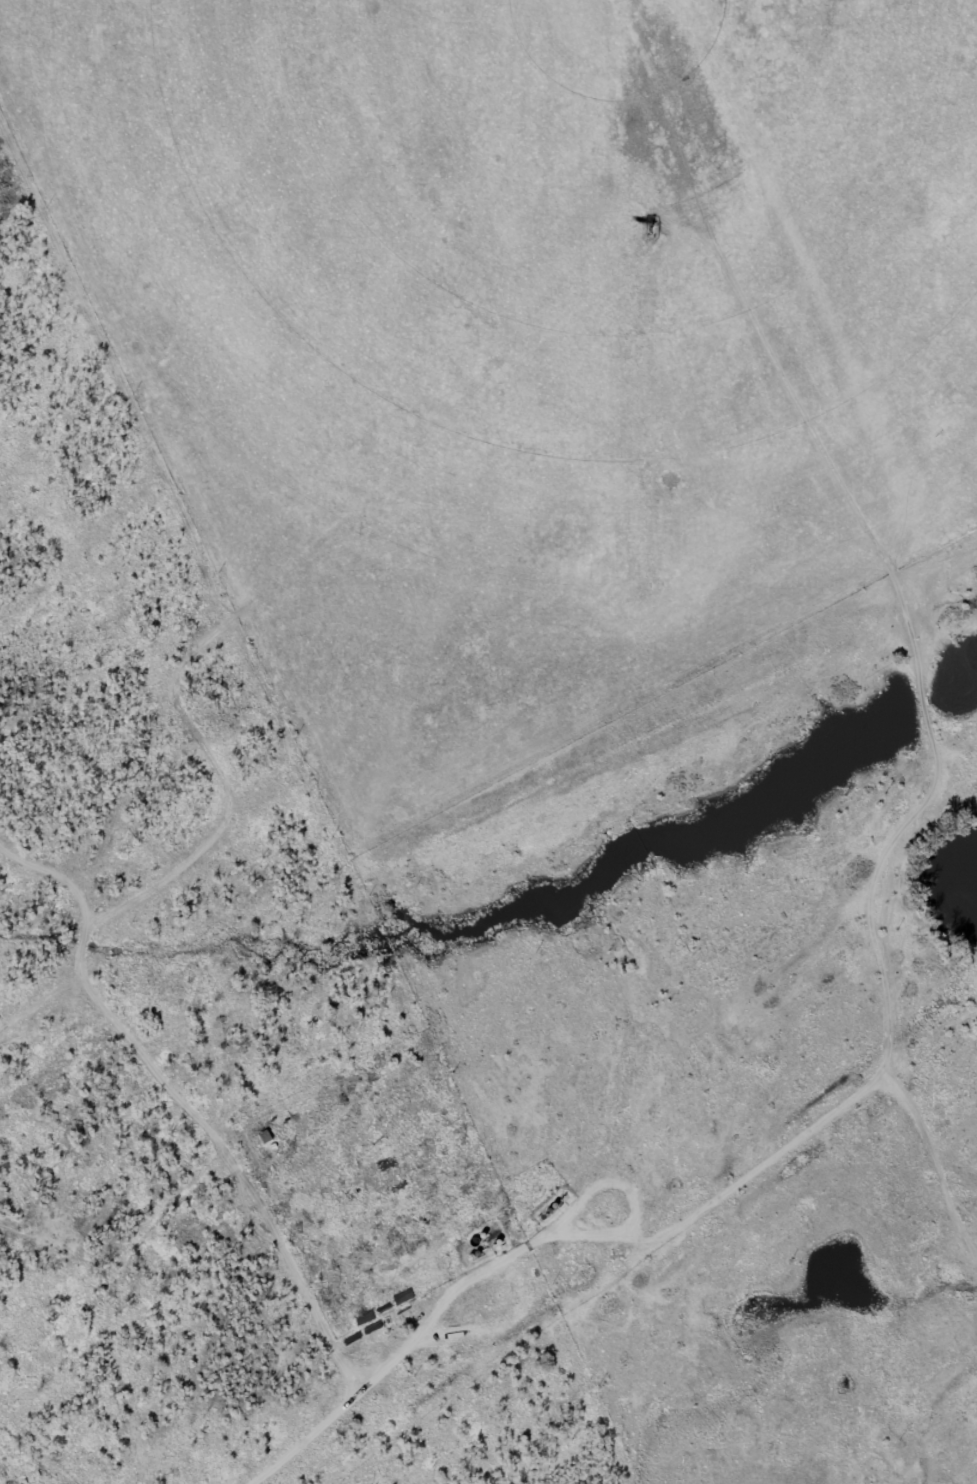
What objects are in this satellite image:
road: (184, 470)
road: (142, 1133)
road: (616, 1165)
railway: (669, 1251)
road: (45, 1446)

